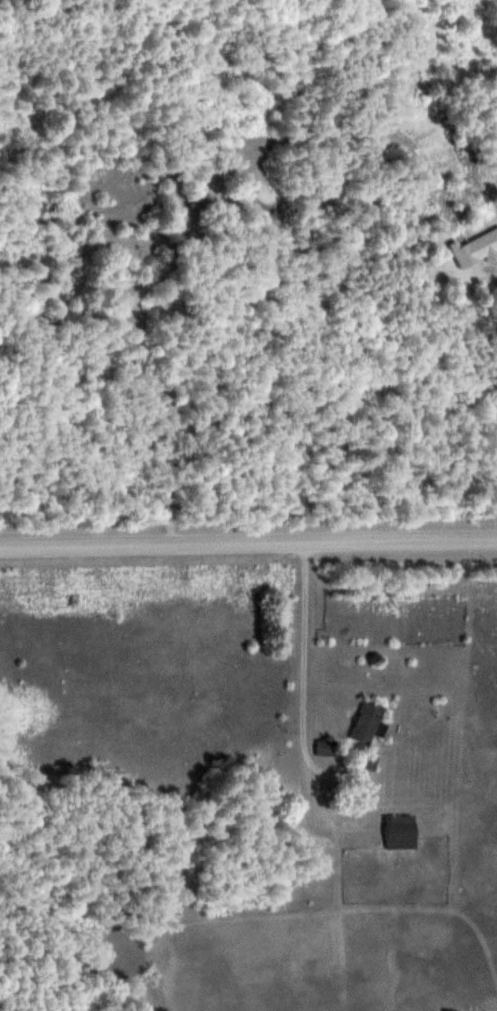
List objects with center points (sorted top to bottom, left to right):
road: (248, 538)
road: (301, 657)
building: (368, 721)
building: (328, 748)
building: (402, 831)

